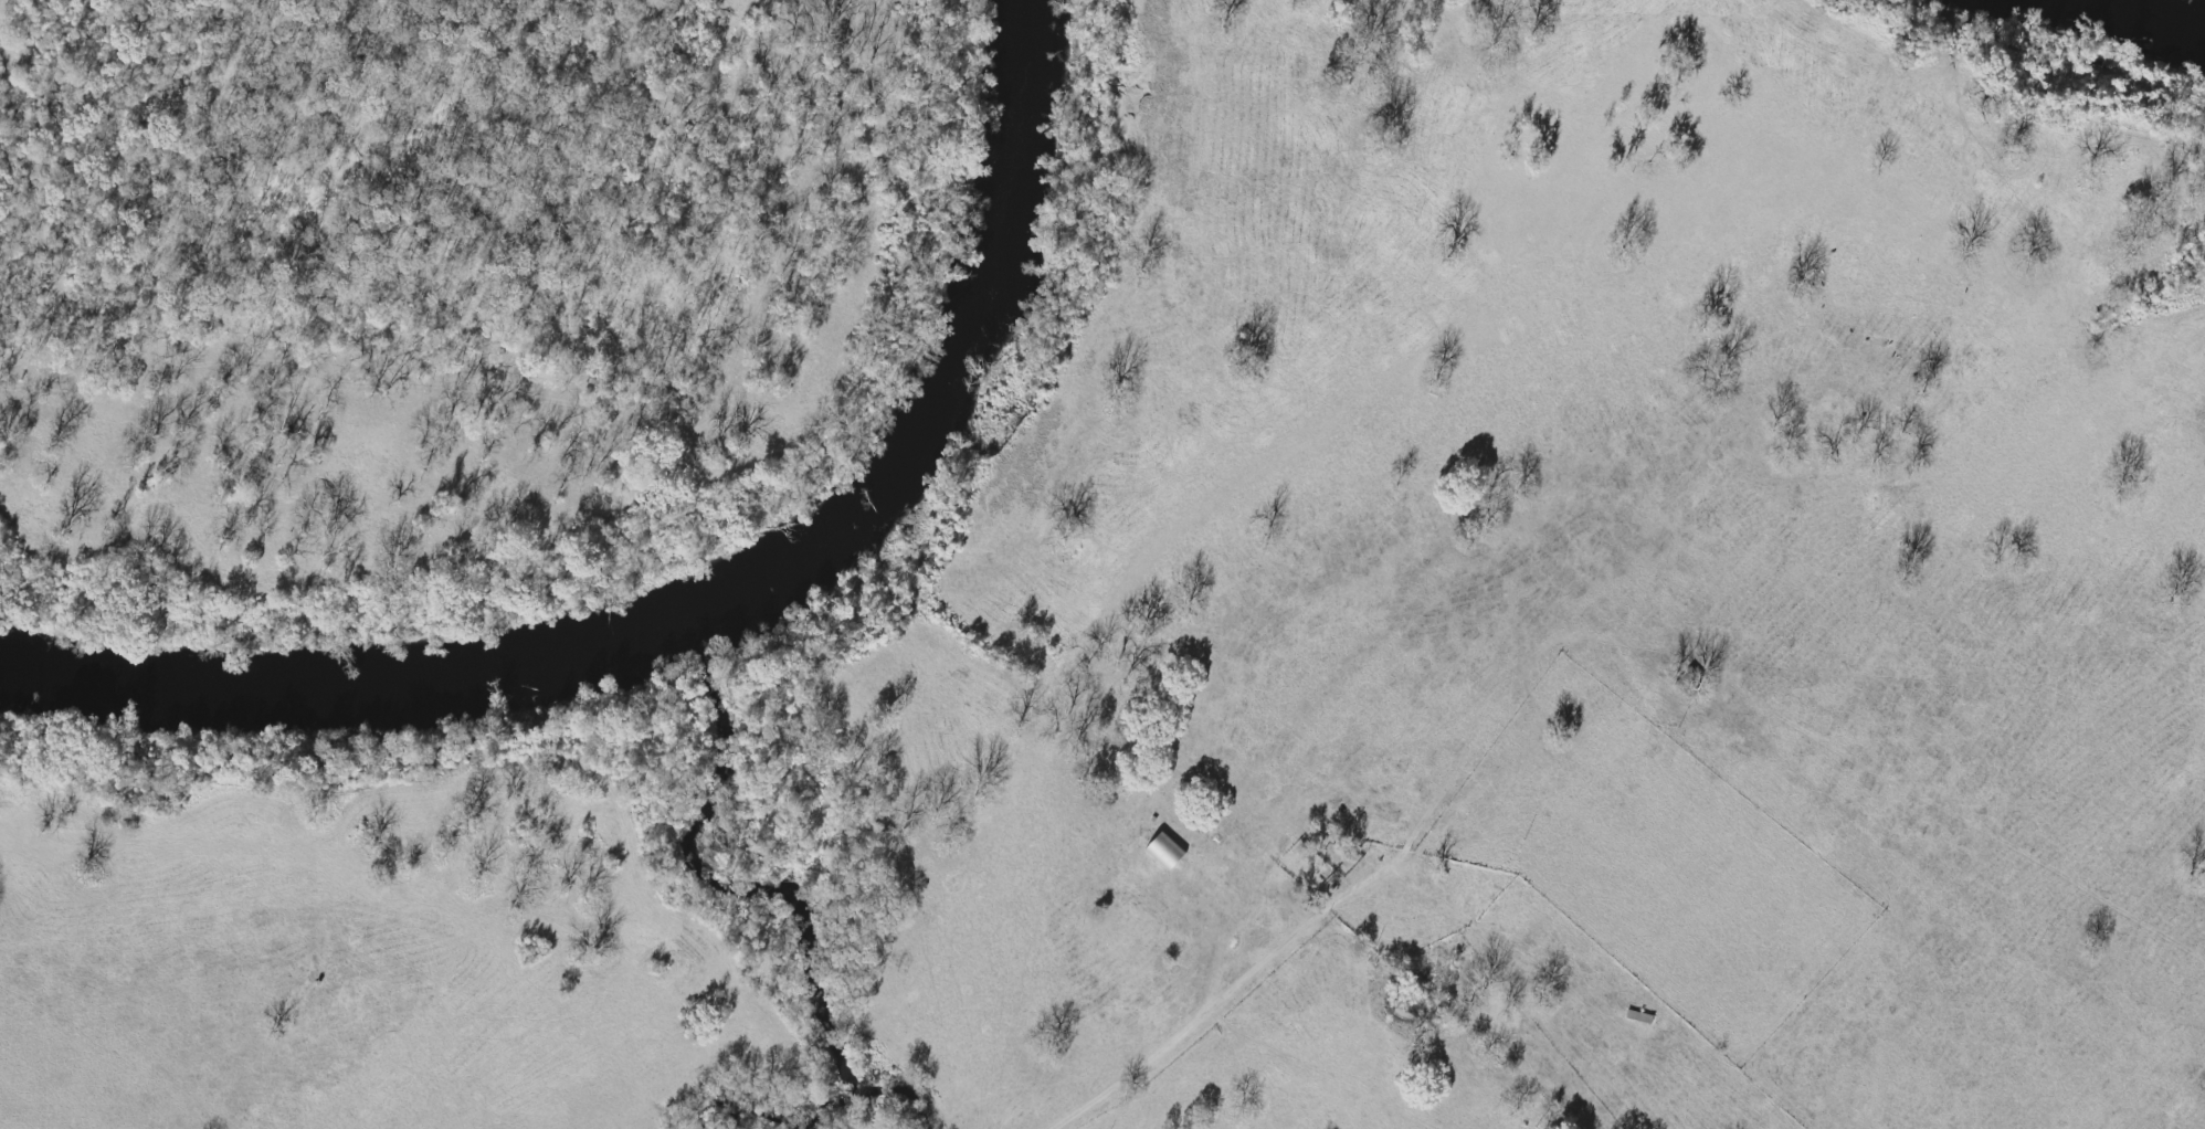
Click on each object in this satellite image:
building: (1163, 850)
road: (1244, 943)
road: (1272, 967)

